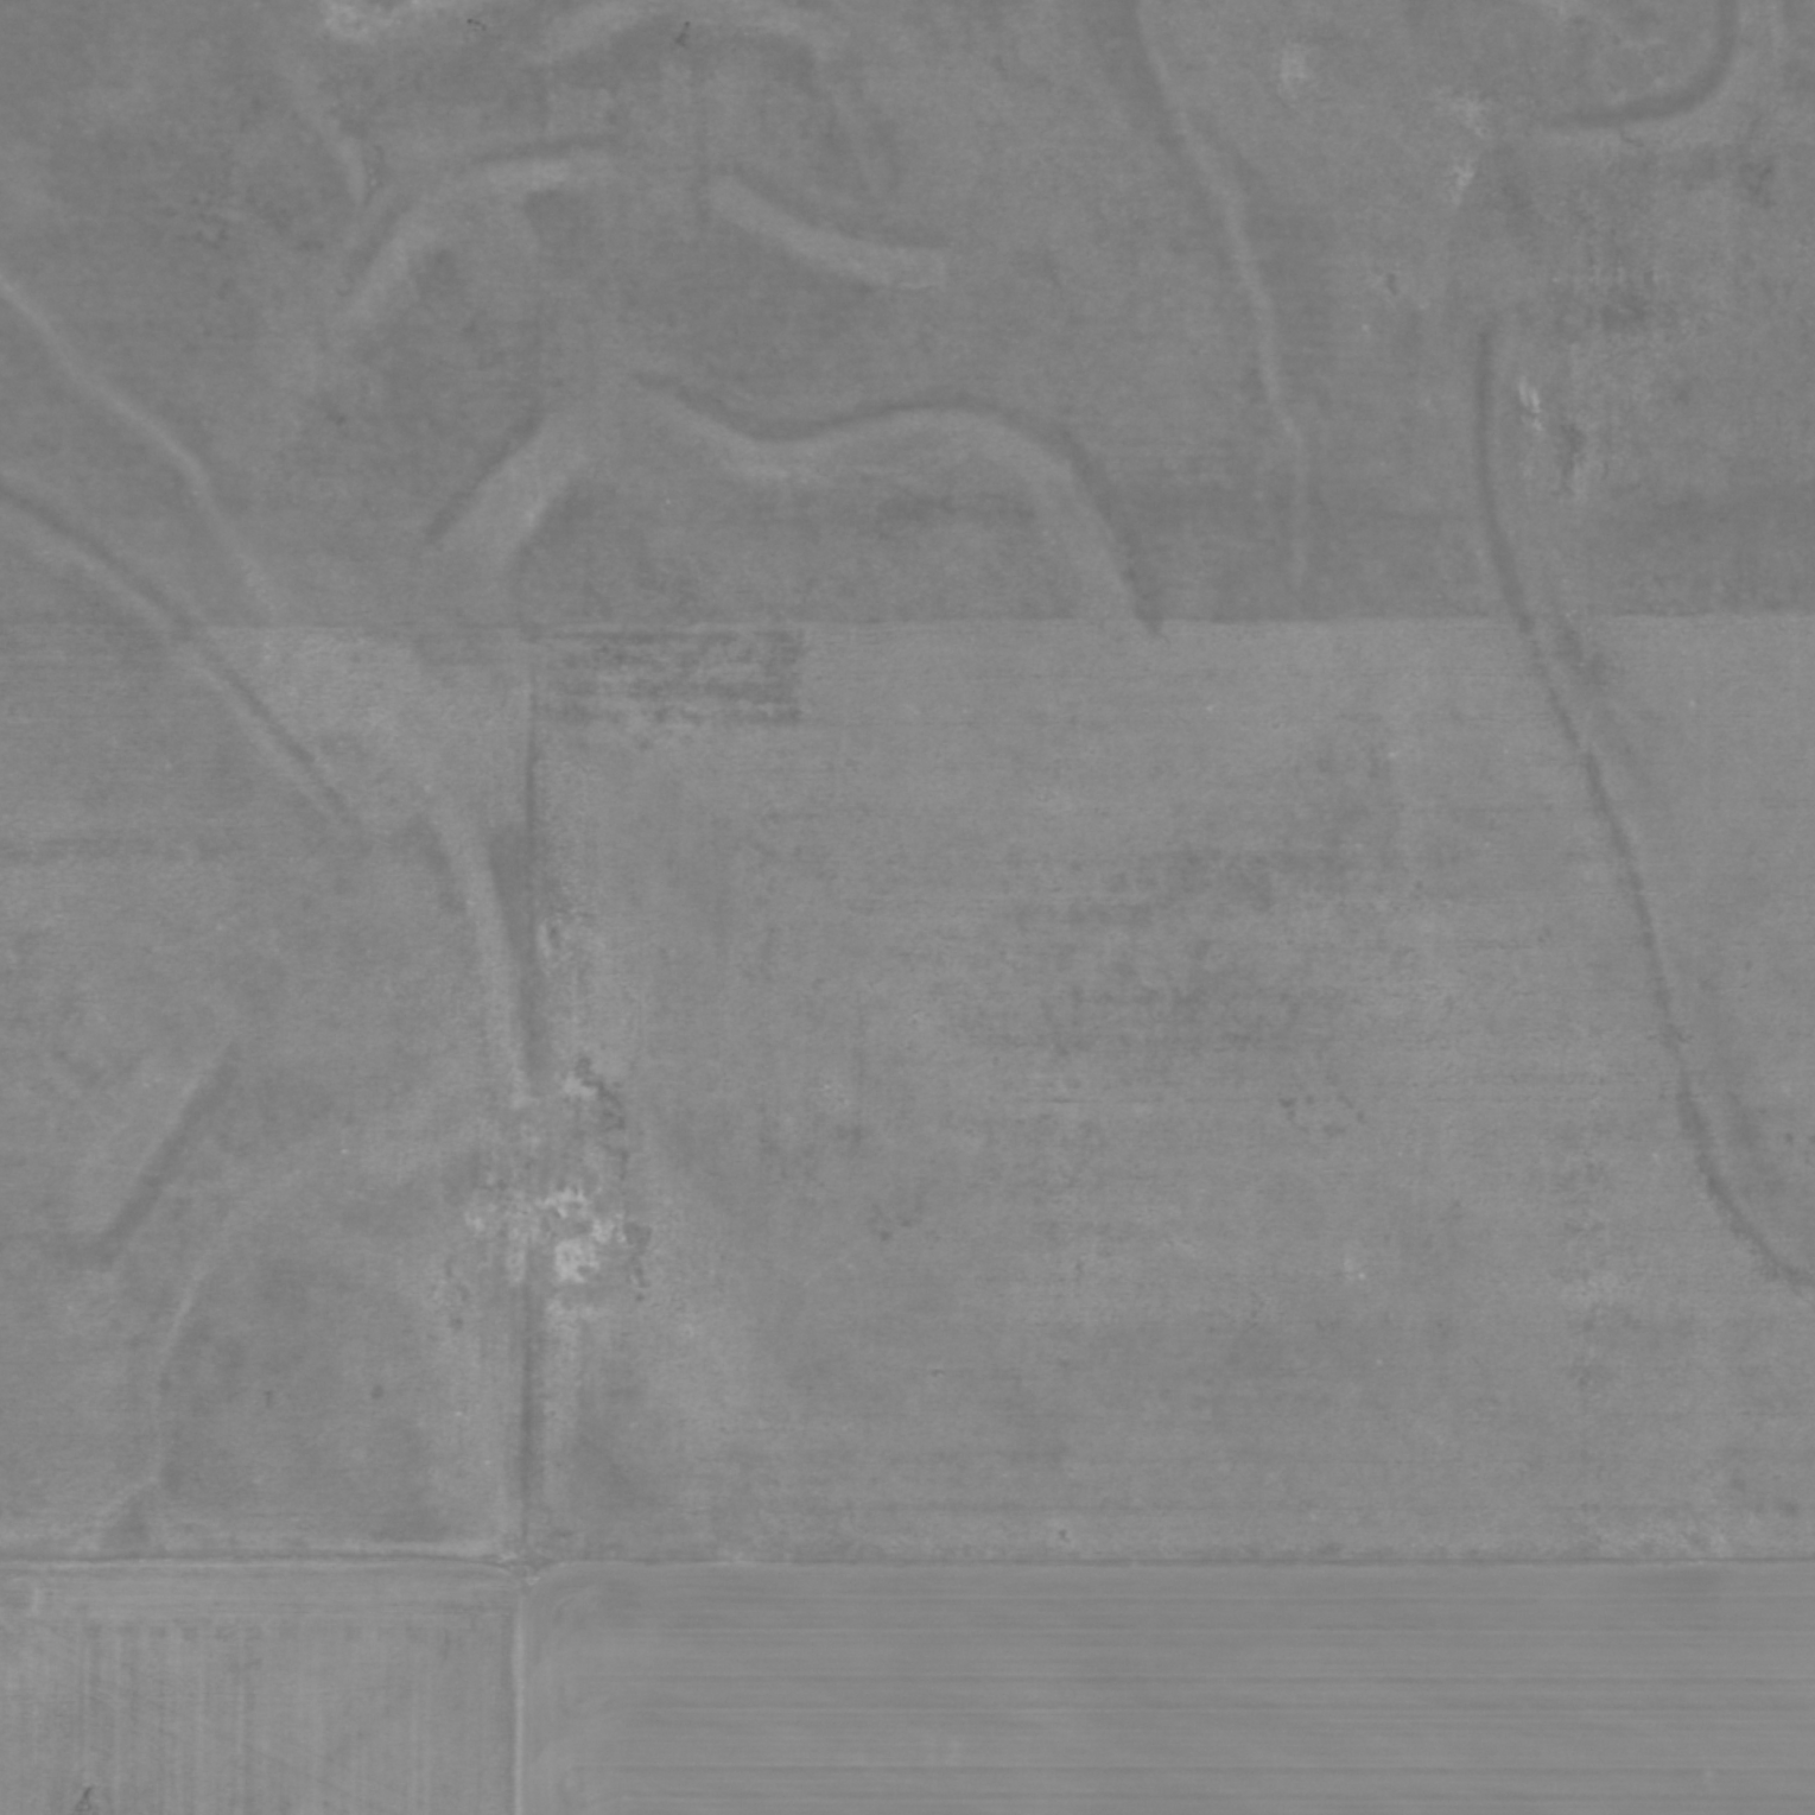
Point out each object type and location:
crop: (909, 1686)
power tower: (85, 1813)

